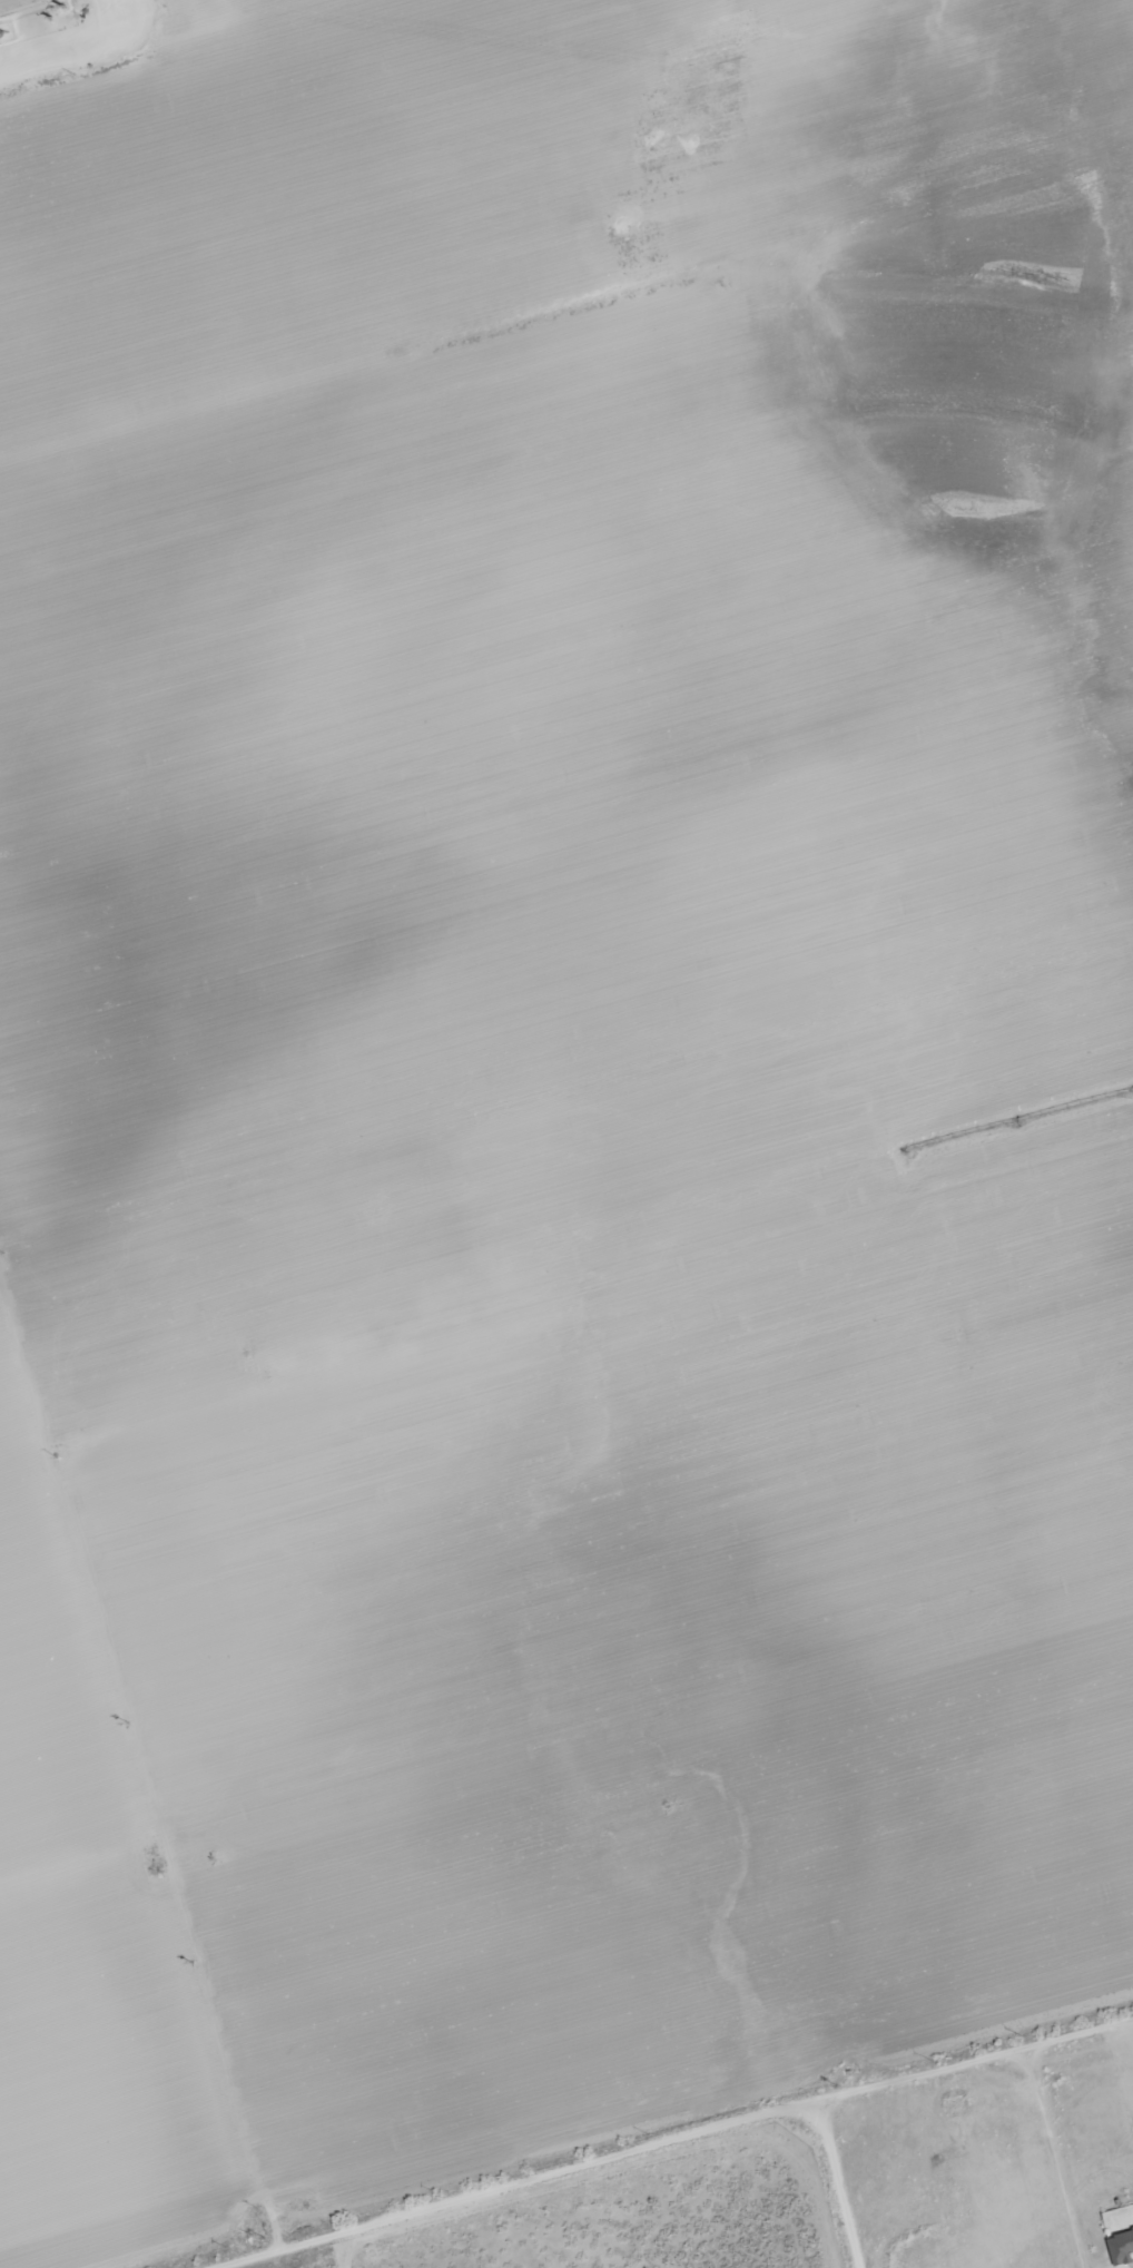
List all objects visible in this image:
road: (82, 28)
road: (116, 40)
road: (28, 69)
crop: (555, 1096)
road: (715, 2140)
building: (1120, 2248)

